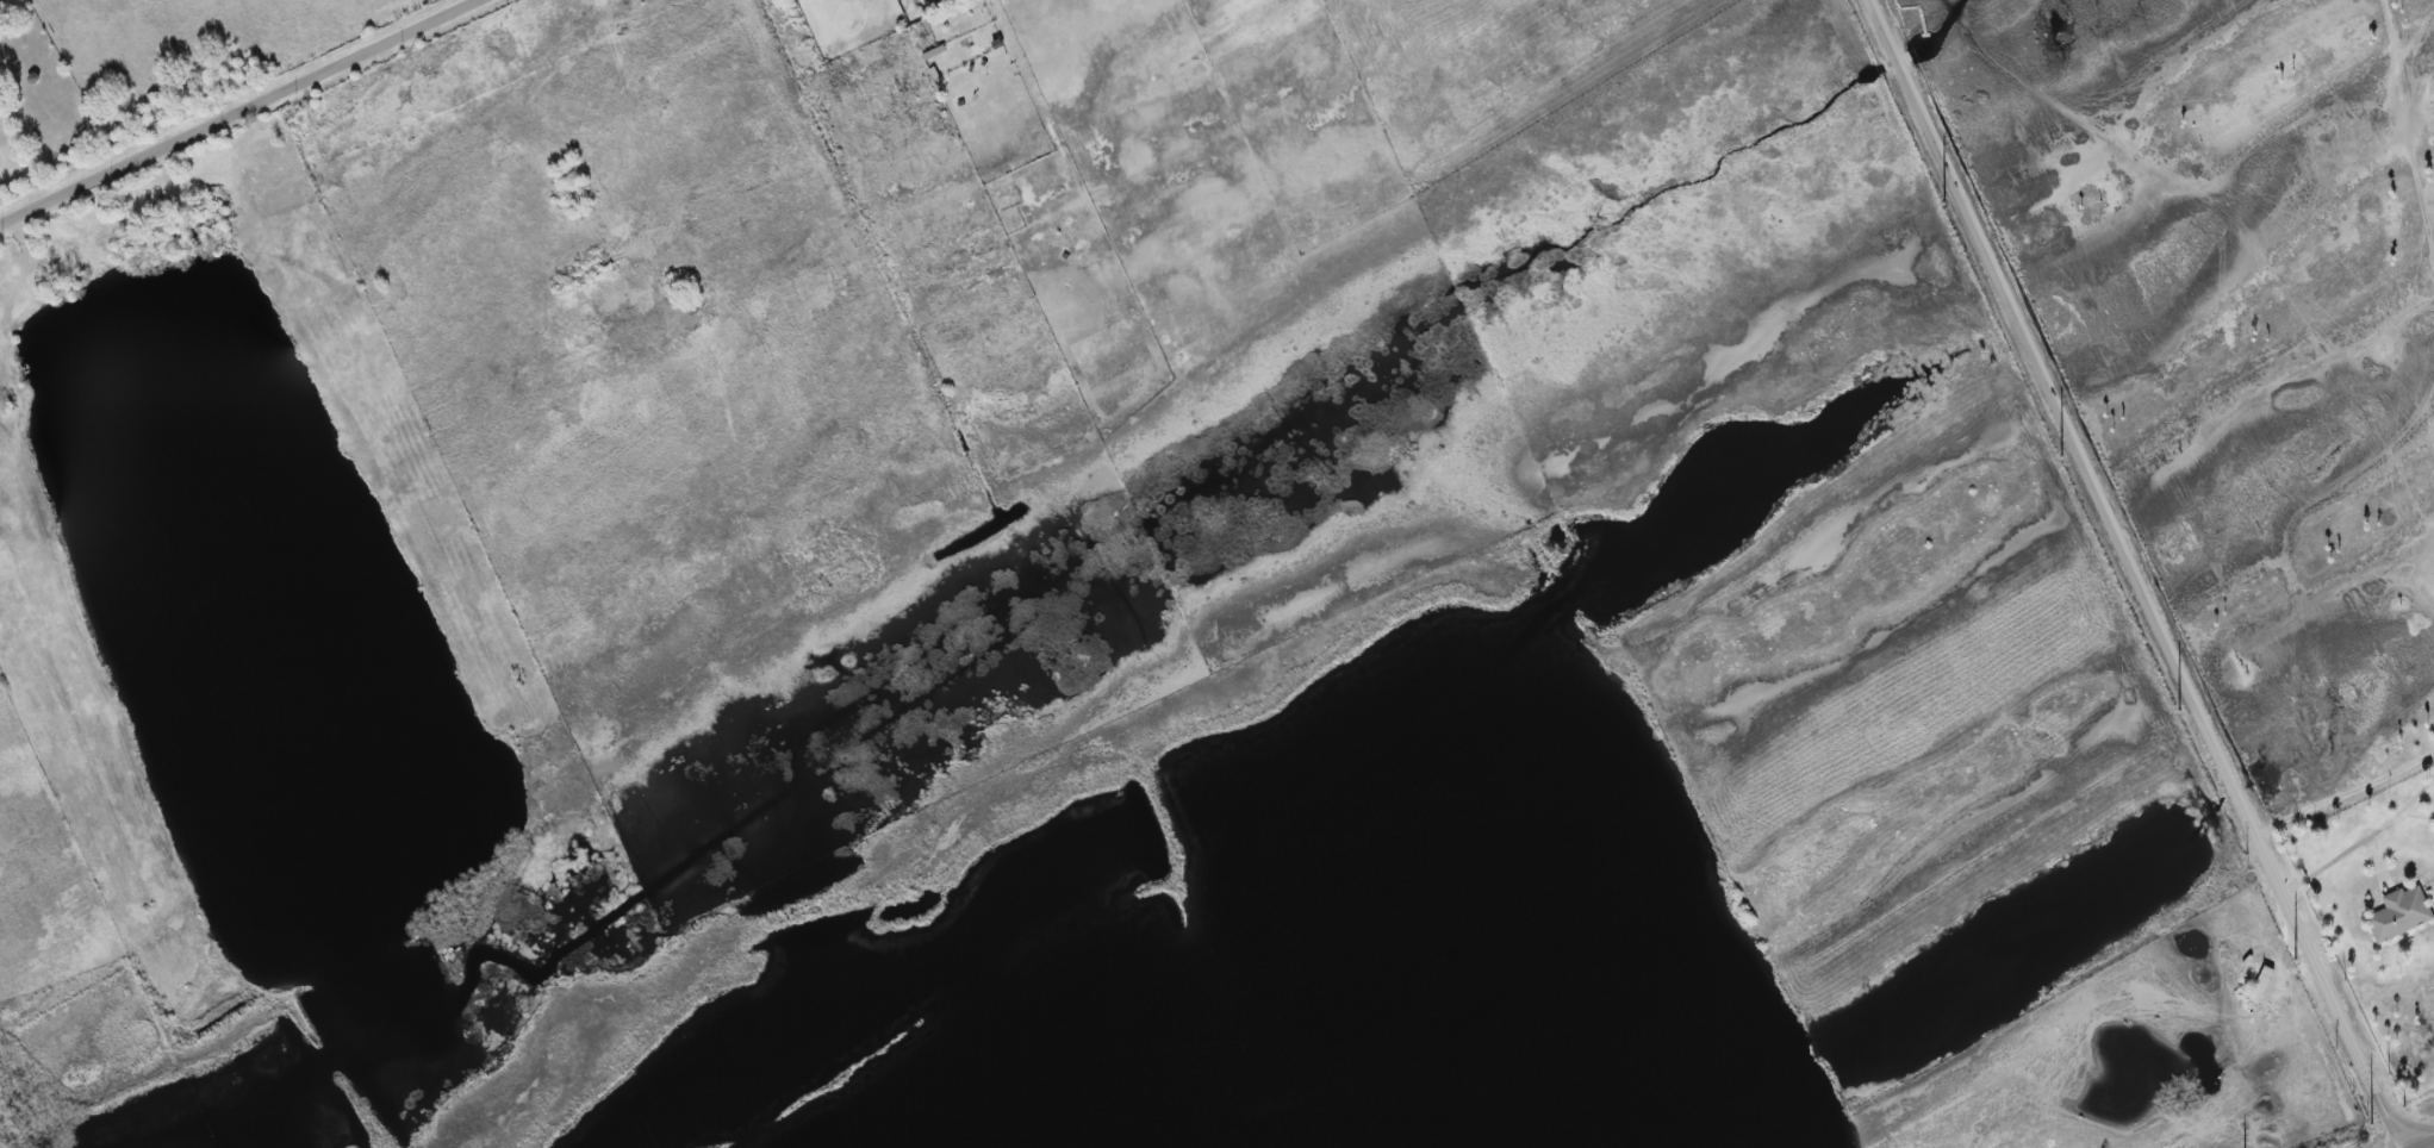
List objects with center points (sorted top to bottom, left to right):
road: (241, 112)
road: (2136, 574)
building: (2401, 913)
road: (2427, 1144)

